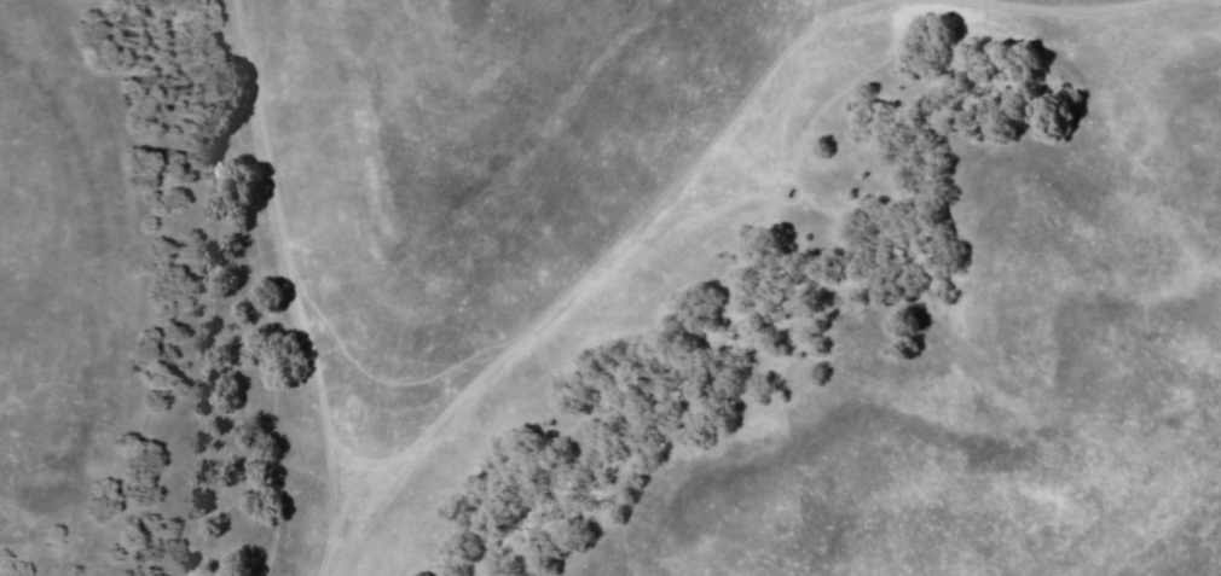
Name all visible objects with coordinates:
road: (467, 60)

